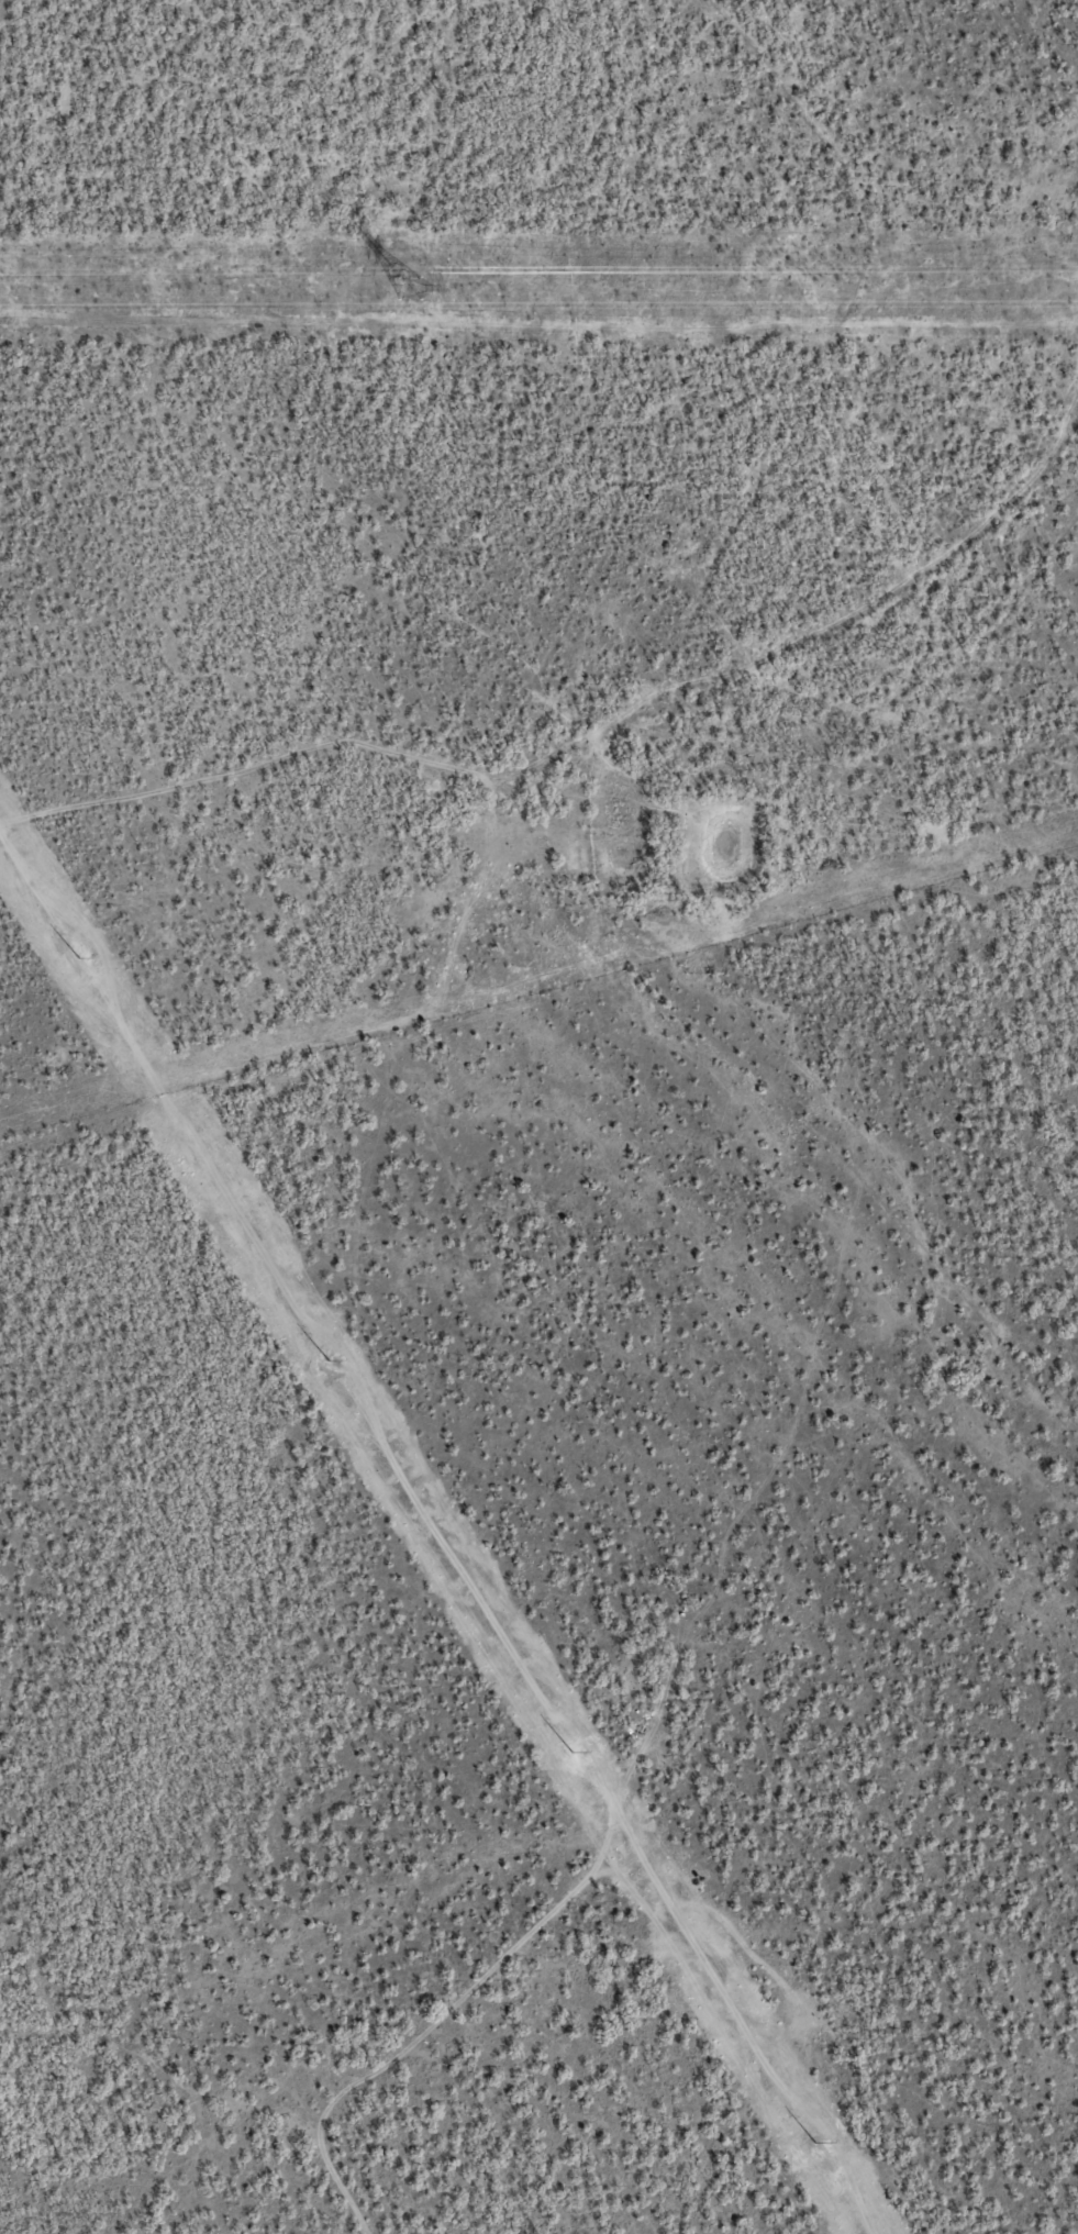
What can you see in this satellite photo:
power tower: (409, 289)
road: (310, 783)
power tower: (82, 968)
power tower: (327, 1358)
power tower: (571, 1750)
power tower: (811, 2141)

